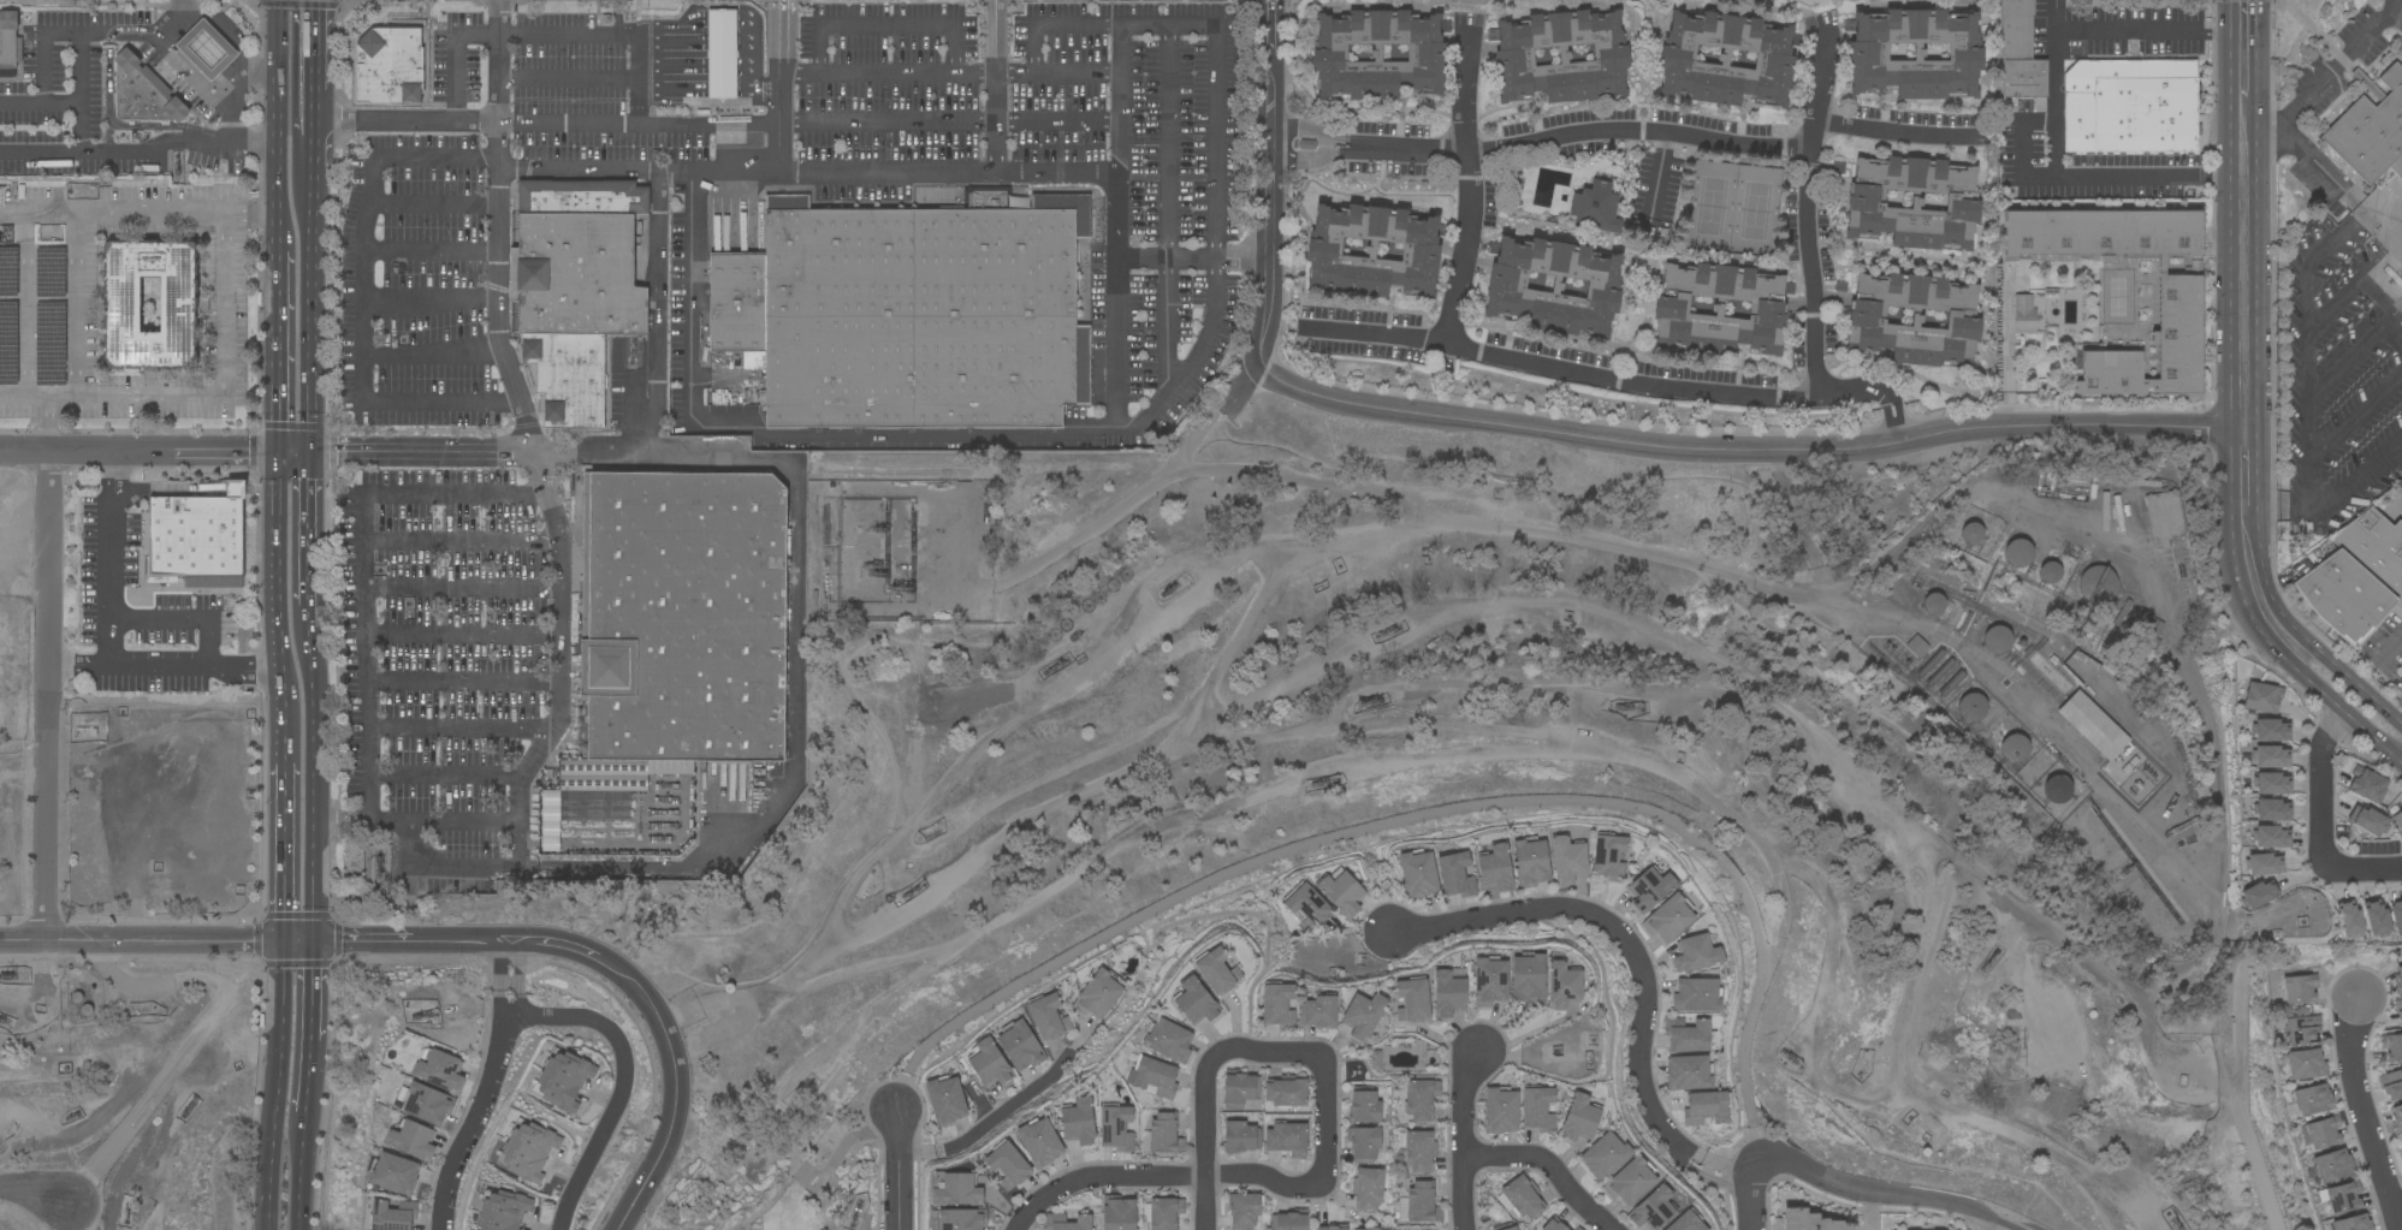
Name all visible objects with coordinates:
road: (743, 8)
road: (2397, 19)
road: (889, 26)
road: (547, 29)
road: (2147, 32)
road: (87, 35)
building: (10, 40)
road: (570, 46)
road: (670, 46)
road: (747, 46)
building: (207, 49)
gas station: (207, 49)
building: (2020, 53)
building: (723, 54)
gas station: (723, 54)
building: (1916, 54)
building: (1378, 55)
building: (1561, 58)
road: (312, 59)
building: (1726, 60)
road: (570, 63)
road: (671, 64)
road: (747, 64)
building: (390, 67)
road: (951, 72)
road: (570, 78)
road: (2329, 78)
parking lot: (2335, 81)
road: (206, 85)
road: (782, 85)
road: (997, 87)
road: (671, 91)
road: (747, 91)
building: (143, 93)
road: (81, 95)
road: (295, 95)
parking lot: (83, 97)
parking lot: (567, 103)
road: (40, 107)
building: (2130, 107)
road: (407, 119)
road: (642, 121)
road: (950, 121)
road: (1317, 126)
road: (1586, 133)
road: (1897, 138)
road: (1216, 141)
building: (2370, 148)
road: (142, 155)
road: (1313, 156)
parking lot: (1067, 158)
parking lot: (2279, 159)
road: (2306, 162)
road: (641, 168)
road: (1665, 168)
road: (950, 172)
petroleum well: (177, 173)
road: (2027, 182)
road: (1467, 186)
road: (437, 203)
building: (1912, 203)
building: (1595, 207)
road: (1169, 209)
road: (1808, 210)
road: (112, 212)
road: (2242, 213)
road: (502, 228)
road: (2383, 228)
road: (1120, 231)
road: (432, 251)
building: (1372, 252)
road: (1194, 257)
road: (2379, 260)
road: (310, 285)
building: (1554, 287)
building: (575, 289)
road: (362, 291)
road: (2378, 297)
road: (25, 302)
road: (79, 302)
road: (431, 302)
building: (2398, 302)
building: (2178, 303)
road: (2333, 304)
building: (179, 305)
building: (1720, 310)
building: (911, 313)
building: (2024, 314)
road: (657, 315)
building: (1914, 320)
road: (2398, 326)
road: (279, 333)
road: (2306, 349)
road: (2007, 350)
road: (433, 353)
road: (2351, 360)
road: (1596, 379)
parking lot: (2338, 381)
road: (22, 392)
road: (225, 393)
road: (631, 405)
road: (2355, 416)
road: (1898, 417)
road: (1887, 420)
road: (46, 423)
road: (773, 438)
road: (1561, 438)
road: (425, 451)
road: (154, 452)
traffic signals: (279, 452)
traffic signals: (309, 452)
road: (2242, 457)
building: (2143, 483)
building: (206, 489)
building: (2092, 492)
road: (364, 494)
road: (2331, 504)
road: (1117, 510)
building: (2104, 511)
building: (2164, 516)
road: (308, 528)
petroleum well: (877, 529)
parking lot: (441, 531)
road: (1805, 531)
building: (1971, 533)
storage tank: (1971, 533)
building: (198, 537)
road: (465, 543)
building: (2374, 548)
building: (2020, 552)
storage tank: (2020, 552)
road: (567, 563)
road: (1689, 568)
petroleum well: (876, 570)
building: (2050, 572)
storage tank: (2050, 572)
road: (2249, 577)
petroleum well: (900, 583)
building: (2098, 584)
storage tank: (2098, 584)
petroleum well: (1169, 588)
road: (465, 589)
building: (2343, 596)
road: (111, 604)
building: (1933, 604)
storage tank: (1933, 604)
road: (308, 617)
building: (2139, 624)
building: (681, 626)
petroleum well: (1389, 631)
road: (103, 634)
road: (464, 634)
building: (1995, 638)
storage tank: (1995, 638)
building: (1916, 646)
building: (1931, 662)
road: (2332, 664)
road: (164, 666)
petroleum well: (1057, 666)
building: (1940, 671)
road: (435, 681)
building: (1952, 683)
road: (45, 697)
building: (2262, 697)
petroleum well: (1369, 702)
road: (2341, 707)
road: (2383, 707)
petroleum well: (1625, 708)
building: (1971, 708)
storage tank: (1971, 708)
road: (793, 719)
building: (2092, 725)
road: (461, 730)
building: (2271, 730)
building: (2016, 748)
storage tank: (2016, 748)
building: (2271, 757)
road: (2398, 760)
road: (447, 772)
road: (368, 773)
petroleum well: (1323, 784)
building: (2272, 784)
road: (306, 785)
building: (2366, 785)
building: (2057, 789)
storage tank: (2057, 789)
road: (279, 804)
building: (2271, 810)
road: (1440, 812)
building: (2397, 820)
building: (551, 821)
building: (2367, 821)
road: (458, 822)
road: (2319, 825)
building: (2271, 837)
road: (411, 842)
building: (1609, 856)
building: (1567, 860)
building: (1531, 862)
building: (2264, 864)
petroleum well: (378, 868)
building: (1495, 868)
building: (1417, 873)
building: (1455, 874)
building: (1650, 889)
petroleum well: (912, 893)
building: (1341, 893)
building: (2259, 895)
building: (1307, 905)
building: (2396, 915)
building: (1668, 917)
building: (2349, 919)
building: (2376, 919)
road: (22, 940)
road: (174, 941)
road: (407, 941)
traffic signals: (278, 944)
traffic signals: (304, 944)
road: (1626, 944)
building: (1696, 953)
petroleum well: (1989, 957)
road: (510, 964)
building: (1216, 970)
petroleum well: (11, 976)
building: (1528, 978)
building: (2398, 980)
building: (1489, 981)
building: (1562, 985)
building: (2300, 988)
building: (1448, 993)
building: (1098, 994)
building: (1697, 994)
road: (306, 996)
building: (1194, 1000)
building: (1412, 1000)
building: (1279, 1005)
building: (2398, 1009)
building: (1319, 1011)
petroleum well: (426, 1015)
building: (1364, 1015)
building: (1048, 1017)
petroleum well: (1, 1021)
building: (2301, 1030)
building: (1688, 1035)
road: (192, 1038)
building: (1168, 1040)
road: (666, 1041)
building: (1020, 1045)
building: (2392, 1046)
building: (1375, 1060)
petroleum well: (1791, 1060)
building: (989, 1063)
building: (2306, 1064)
building: (440, 1070)
building: (1689, 1072)
building: (1155, 1076)
building: (562, 1080)
road: (307, 1081)
road: (625, 1082)
building: (2391, 1085)
road: (274, 1087)
building: (1239, 1088)
road: (2238, 1088)
building: (1286, 1091)
road: (901, 1095)
building: (1421, 1099)
building: (2313, 1099)
building: (945, 1100)
building: (426, 1103)
petroleum well: (189, 1106)
building: (1364, 1106)
building: (1707, 1107)
building: (1537, 1109)
building: (1501, 1110)
road: (481, 1111)
road: (1010, 1111)
road: (2364, 1111)
road: (1327, 1116)
petroleum well: (70, 1117)
building: (1579, 1117)
building: (2396, 1118)
building: (1078, 1121)
building: (1115, 1128)
petroleum well: (1924, 1130)
building: (2323, 1131)
building: (1164, 1134)
building: (1240, 1136)
building: (1287, 1139)
building: (413, 1140)
road: (1466, 1140)
building: (1039, 1142)
building: (1364, 1143)
road: (840, 1148)
building: (527, 1151)
building: (1419, 1151)
road: (1206, 1154)
building: (1605, 1155)
road: (919, 1157)
building: (1008, 1165)
building: (2333, 1165)
road: (1552, 1167)
road: (901, 1170)
road: (302, 1171)
road: (1730, 1172)
building: (395, 1173)
road: (1102, 1177)
road: (877, 1178)
building: (1630, 1181)
park: (772, 1184)
building: (1368, 1188)
building: (957, 1190)
road: (1874, 1190)
road: (1756, 1192)
road: (34, 1198)
building: (1520, 1198)
building: (2342, 1198)
building: (1422, 1202)
road: (767, 1205)
building: (1653, 1208)
petroleum well: (855, 1210)
building: (1244, 1210)
road: (1872, 1210)
building: (502, 1211)
building: (1119, 1213)
building: (1166, 1213)
building: (392, 1216)
road: (2398, 1216)
building: (1055, 1218)
building: (959, 1219)
building: (1291, 1220)
building: (1685, 1222)
building: (1807, 1222)
petroleum well: (2175, 1223)
building: (2353, 1223)
road: (1993, 1224)
road: (2007, 1224)
building: (1554, 1225)
building: (1505, 1226)
building: (1334, 1228)
building: (1378, 1228)
building: (822, 1229)
building: (1578, 1229)

